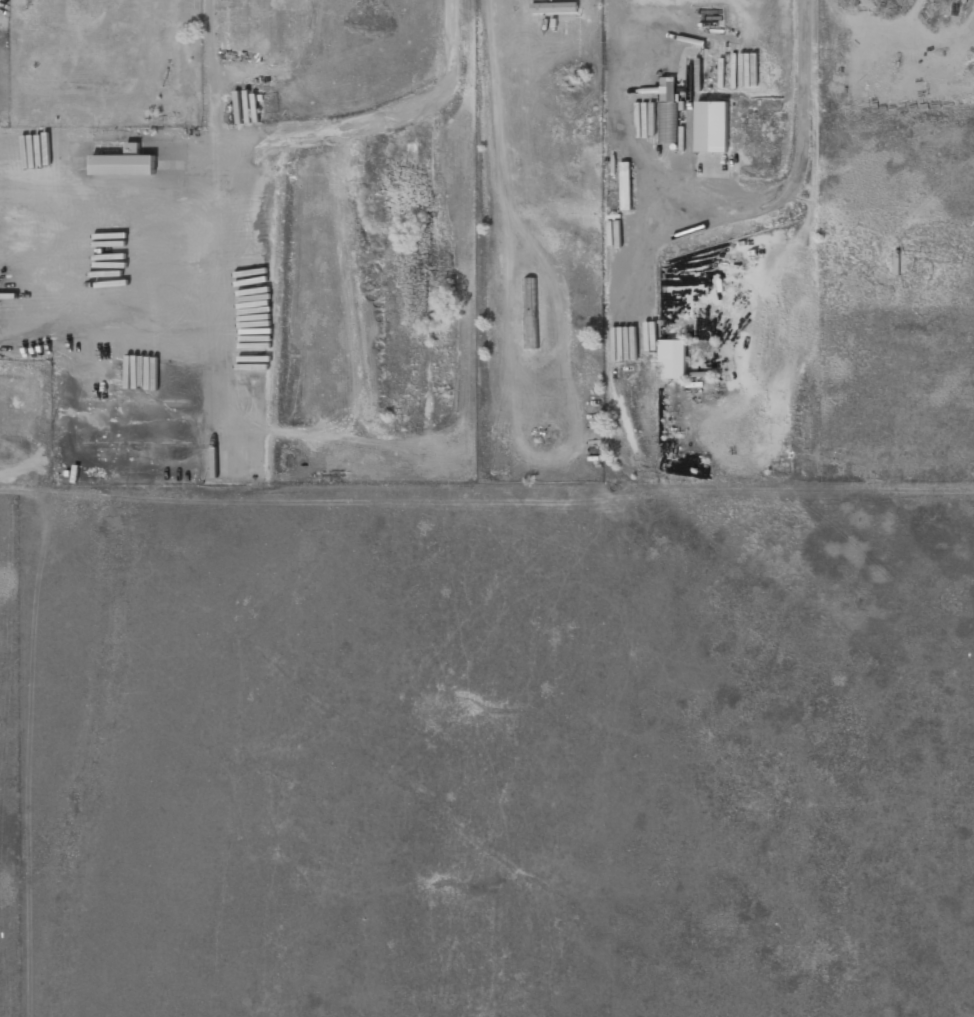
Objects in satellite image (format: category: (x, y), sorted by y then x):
road: (806, 89)
building: (668, 109)
building: (712, 126)
building: (125, 162)
building: (625, 185)
building: (532, 303)
building: (673, 357)

